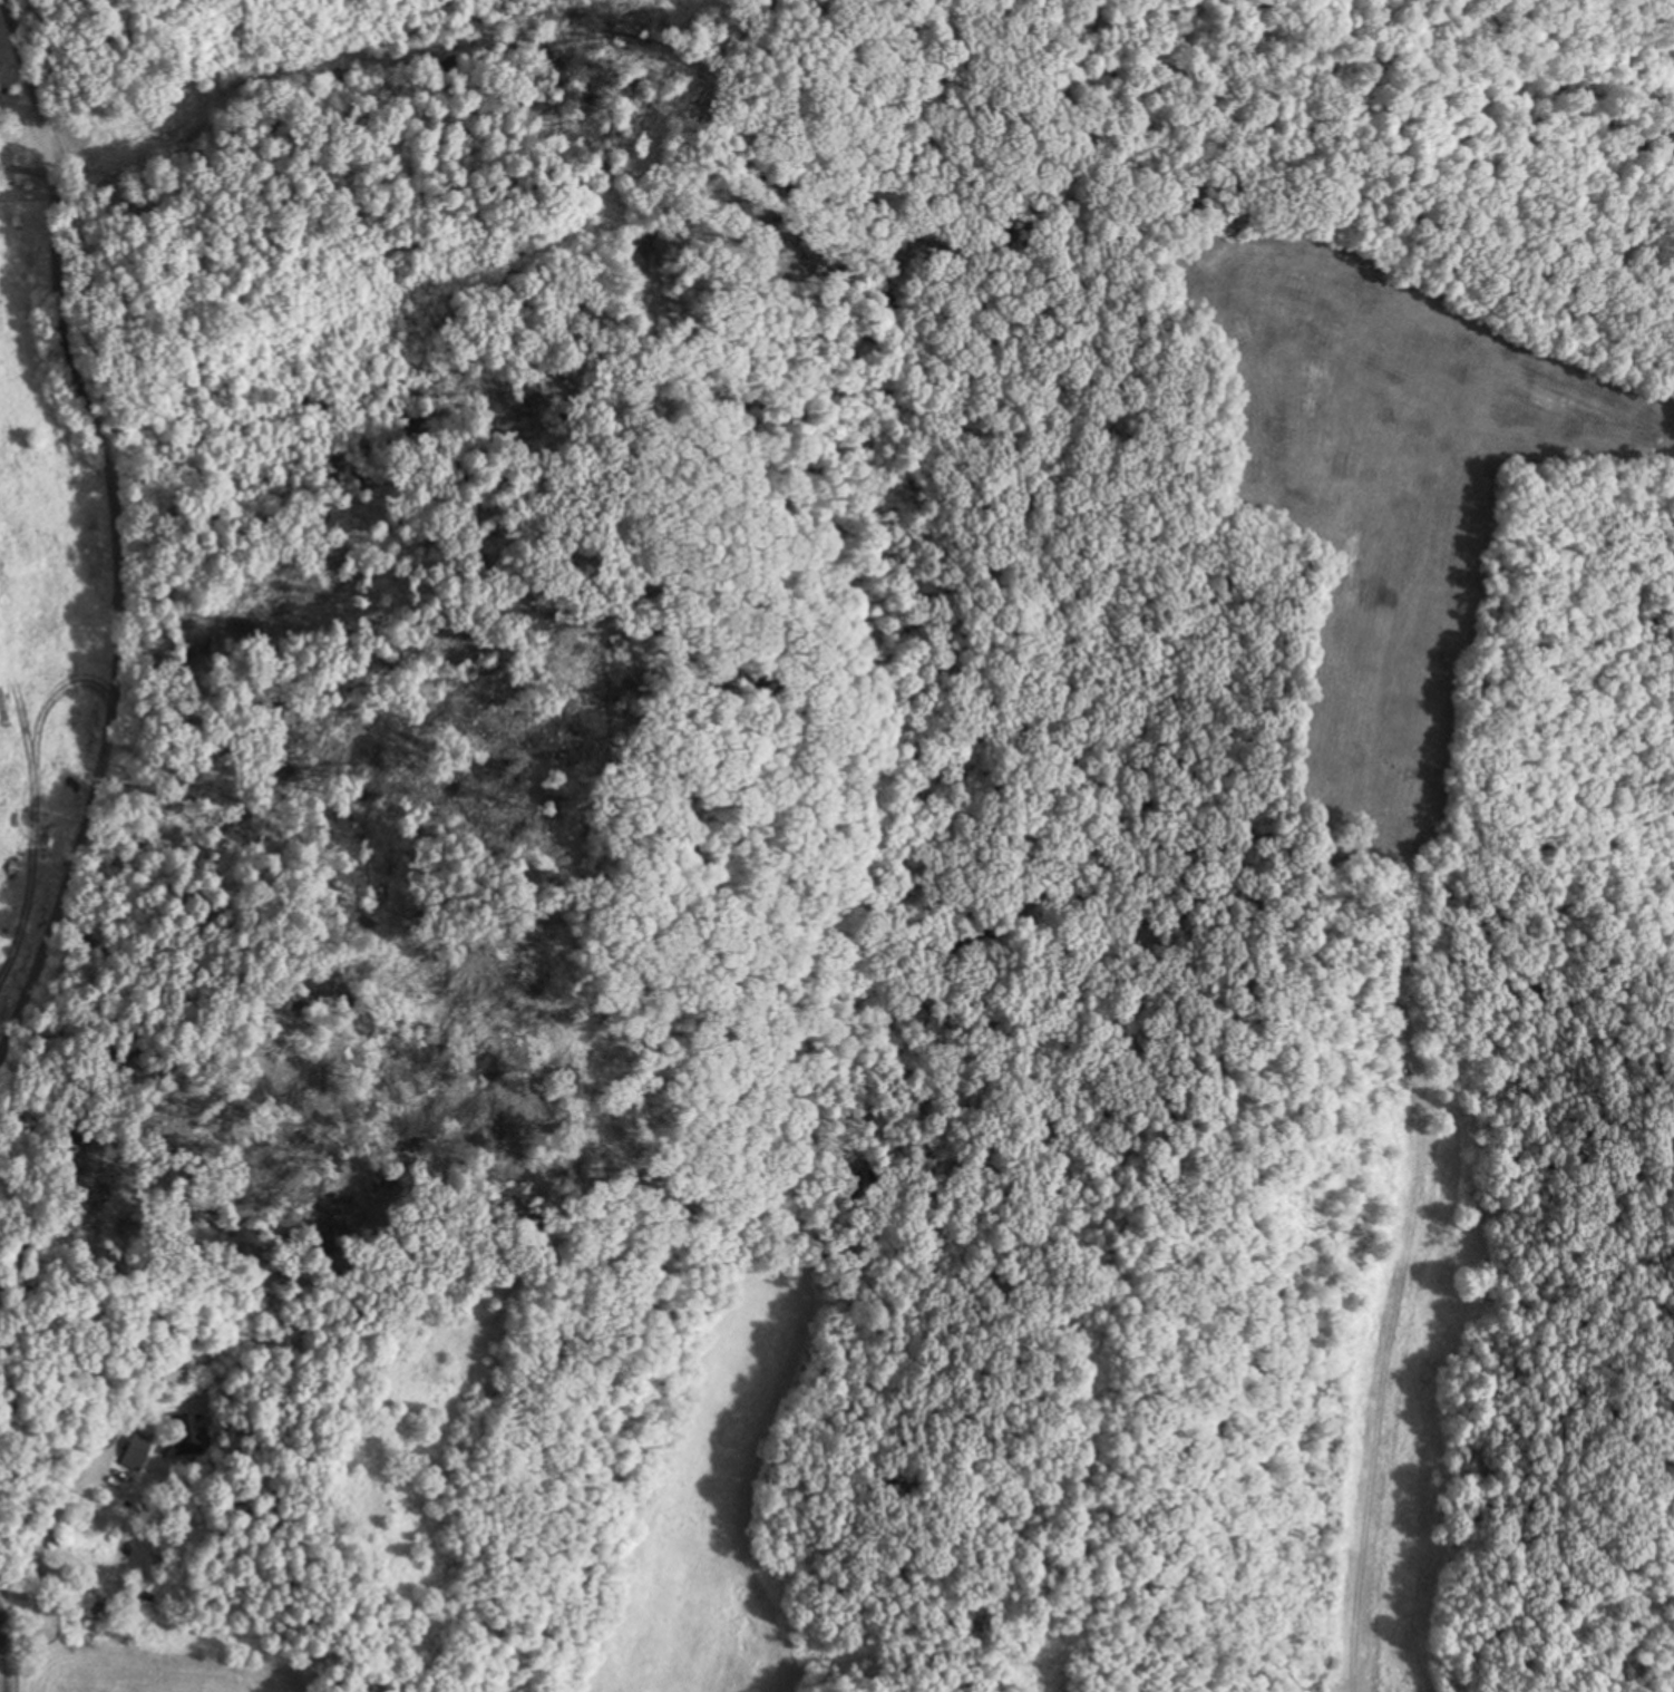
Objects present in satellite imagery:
road: (105, 512)
building: (174, 1375)
building: (135, 1456)
crop: (721, 1528)
crop: (147, 1662)
road: (2, 1669)
crop: (1, 1676)

